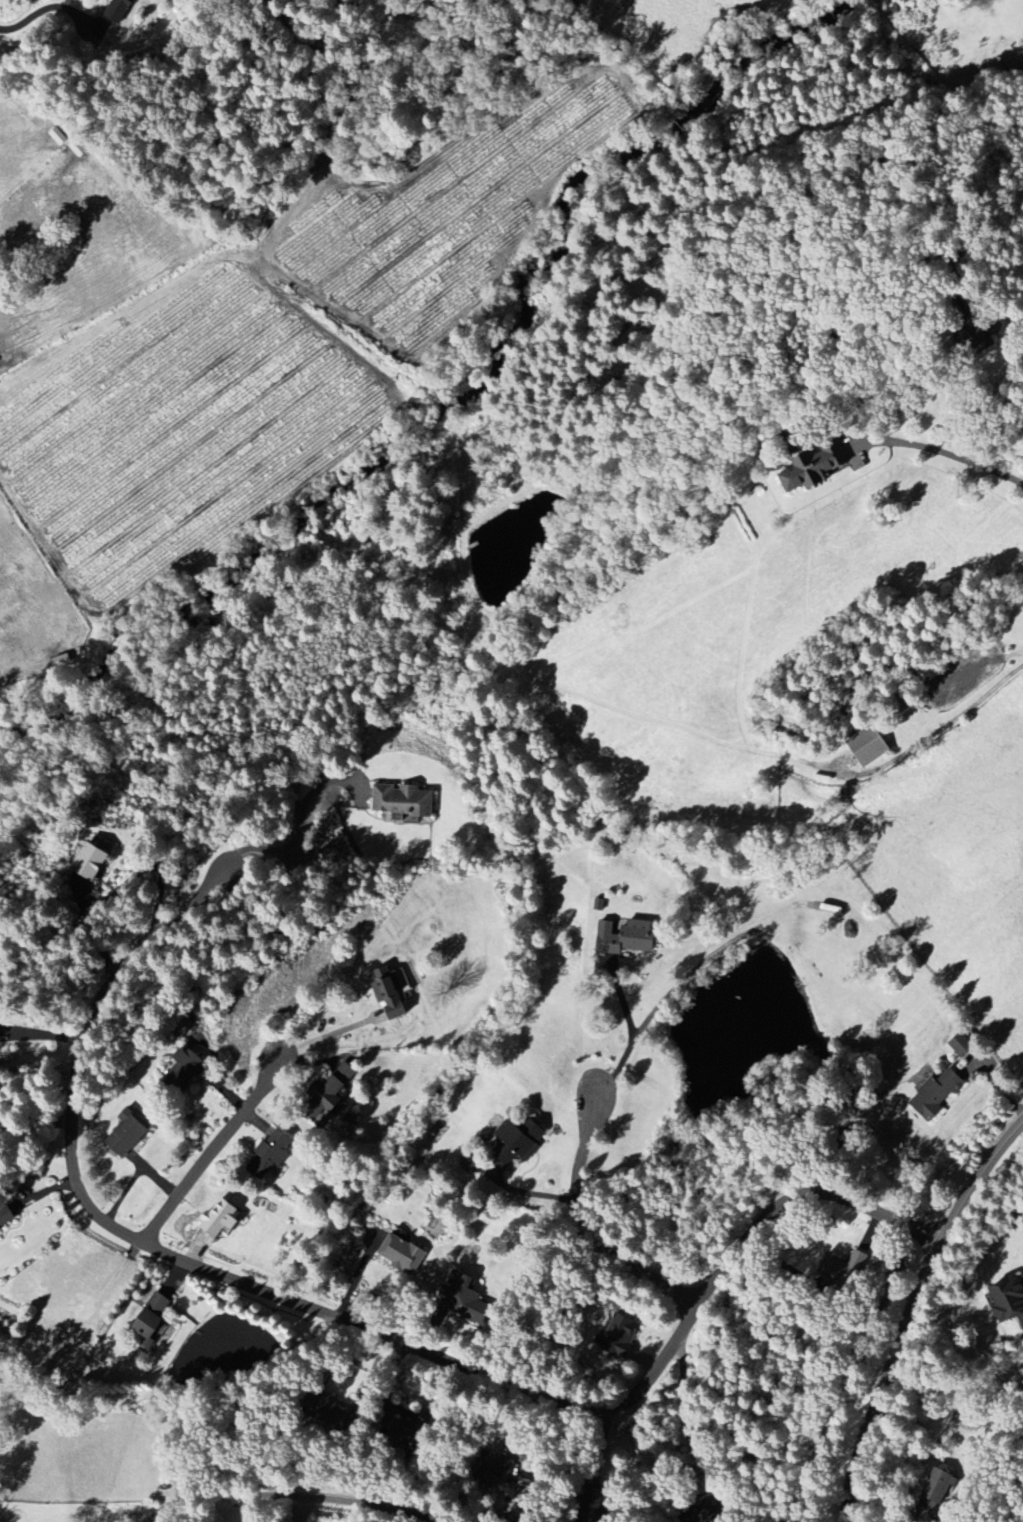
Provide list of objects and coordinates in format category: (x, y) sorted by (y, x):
road: (50, 6)
road: (947, 447)
building: (814, 468)
building: (62, 661)
building: (869, 748)
building: (403, 802)
road: (301, 821)
building: (93, 861)
building: (629, 938)
building: (392, 992)
road: (328, 1035)
road: (631, 1037)
building: (963, 1045)
building: (186, 1067)
building: (334, 1093)
building: (937, 1095)
building: (125, 1137)
building: (519, 1142)
road: (212, 1150)
building: (271, 1154)
building: (469, 1162)
road: (579, 1205)
building: (221, 1218)
building: (403, 1254)
building: (844, 1269)
building: (464, 1299)
building: (1008, 1300)
road: (913, 1307)
building: (154, 1316)
road: (357, 1321)
building: (621, 1335)
building: (329, 1412)
road: (684, 1413)
building: (935, 1493)
road: (284, 1497)
building: (705, 1512)

